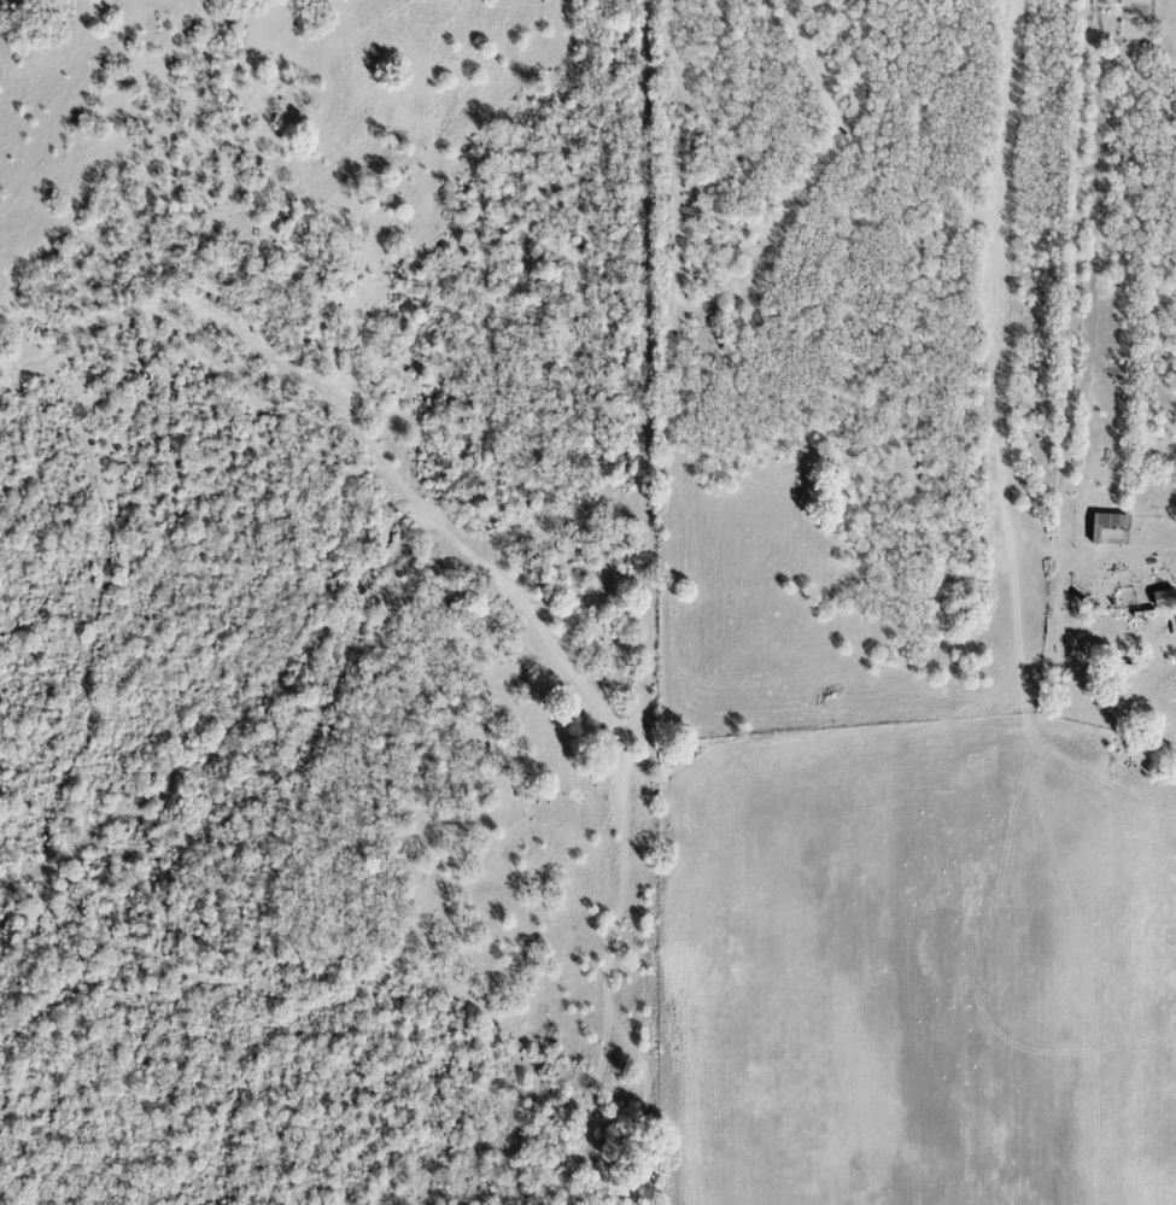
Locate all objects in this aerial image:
road: (1071, 294)

